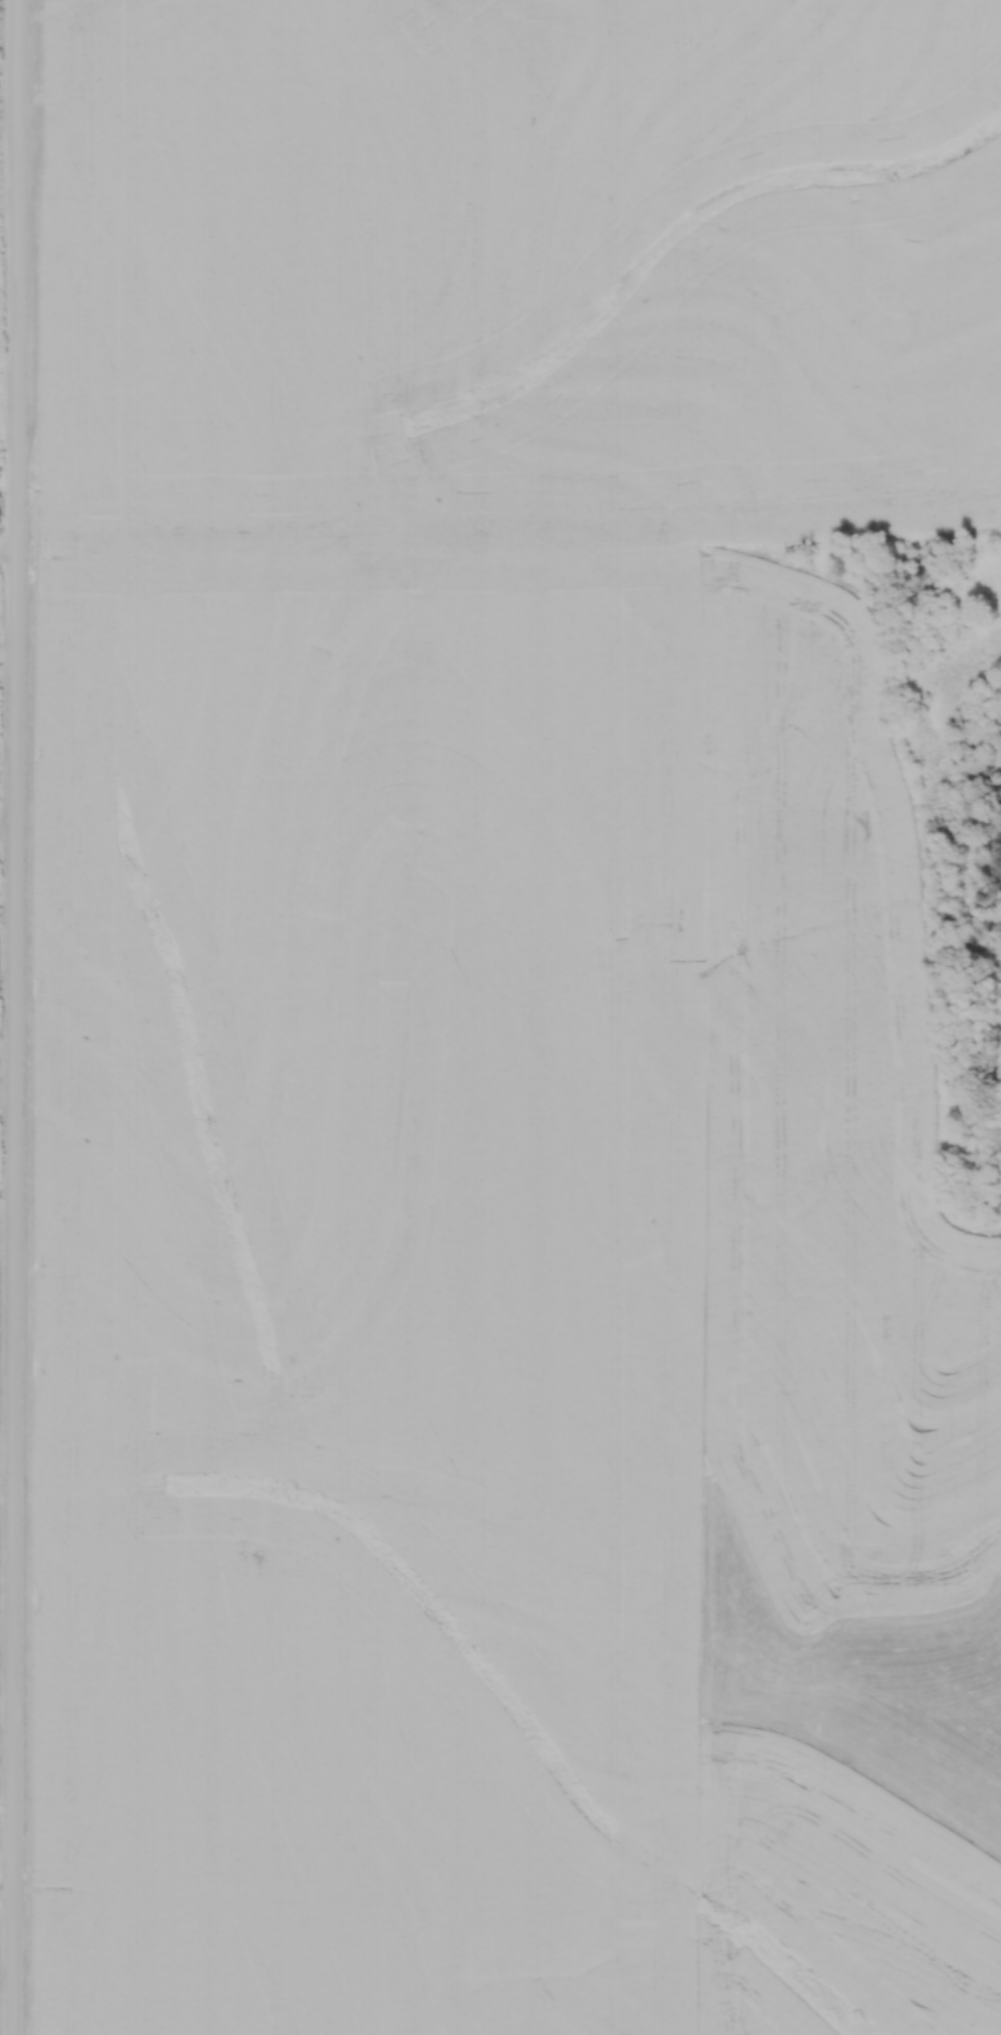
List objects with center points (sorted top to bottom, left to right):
road: (9, 555)
road: (16, 1017)

